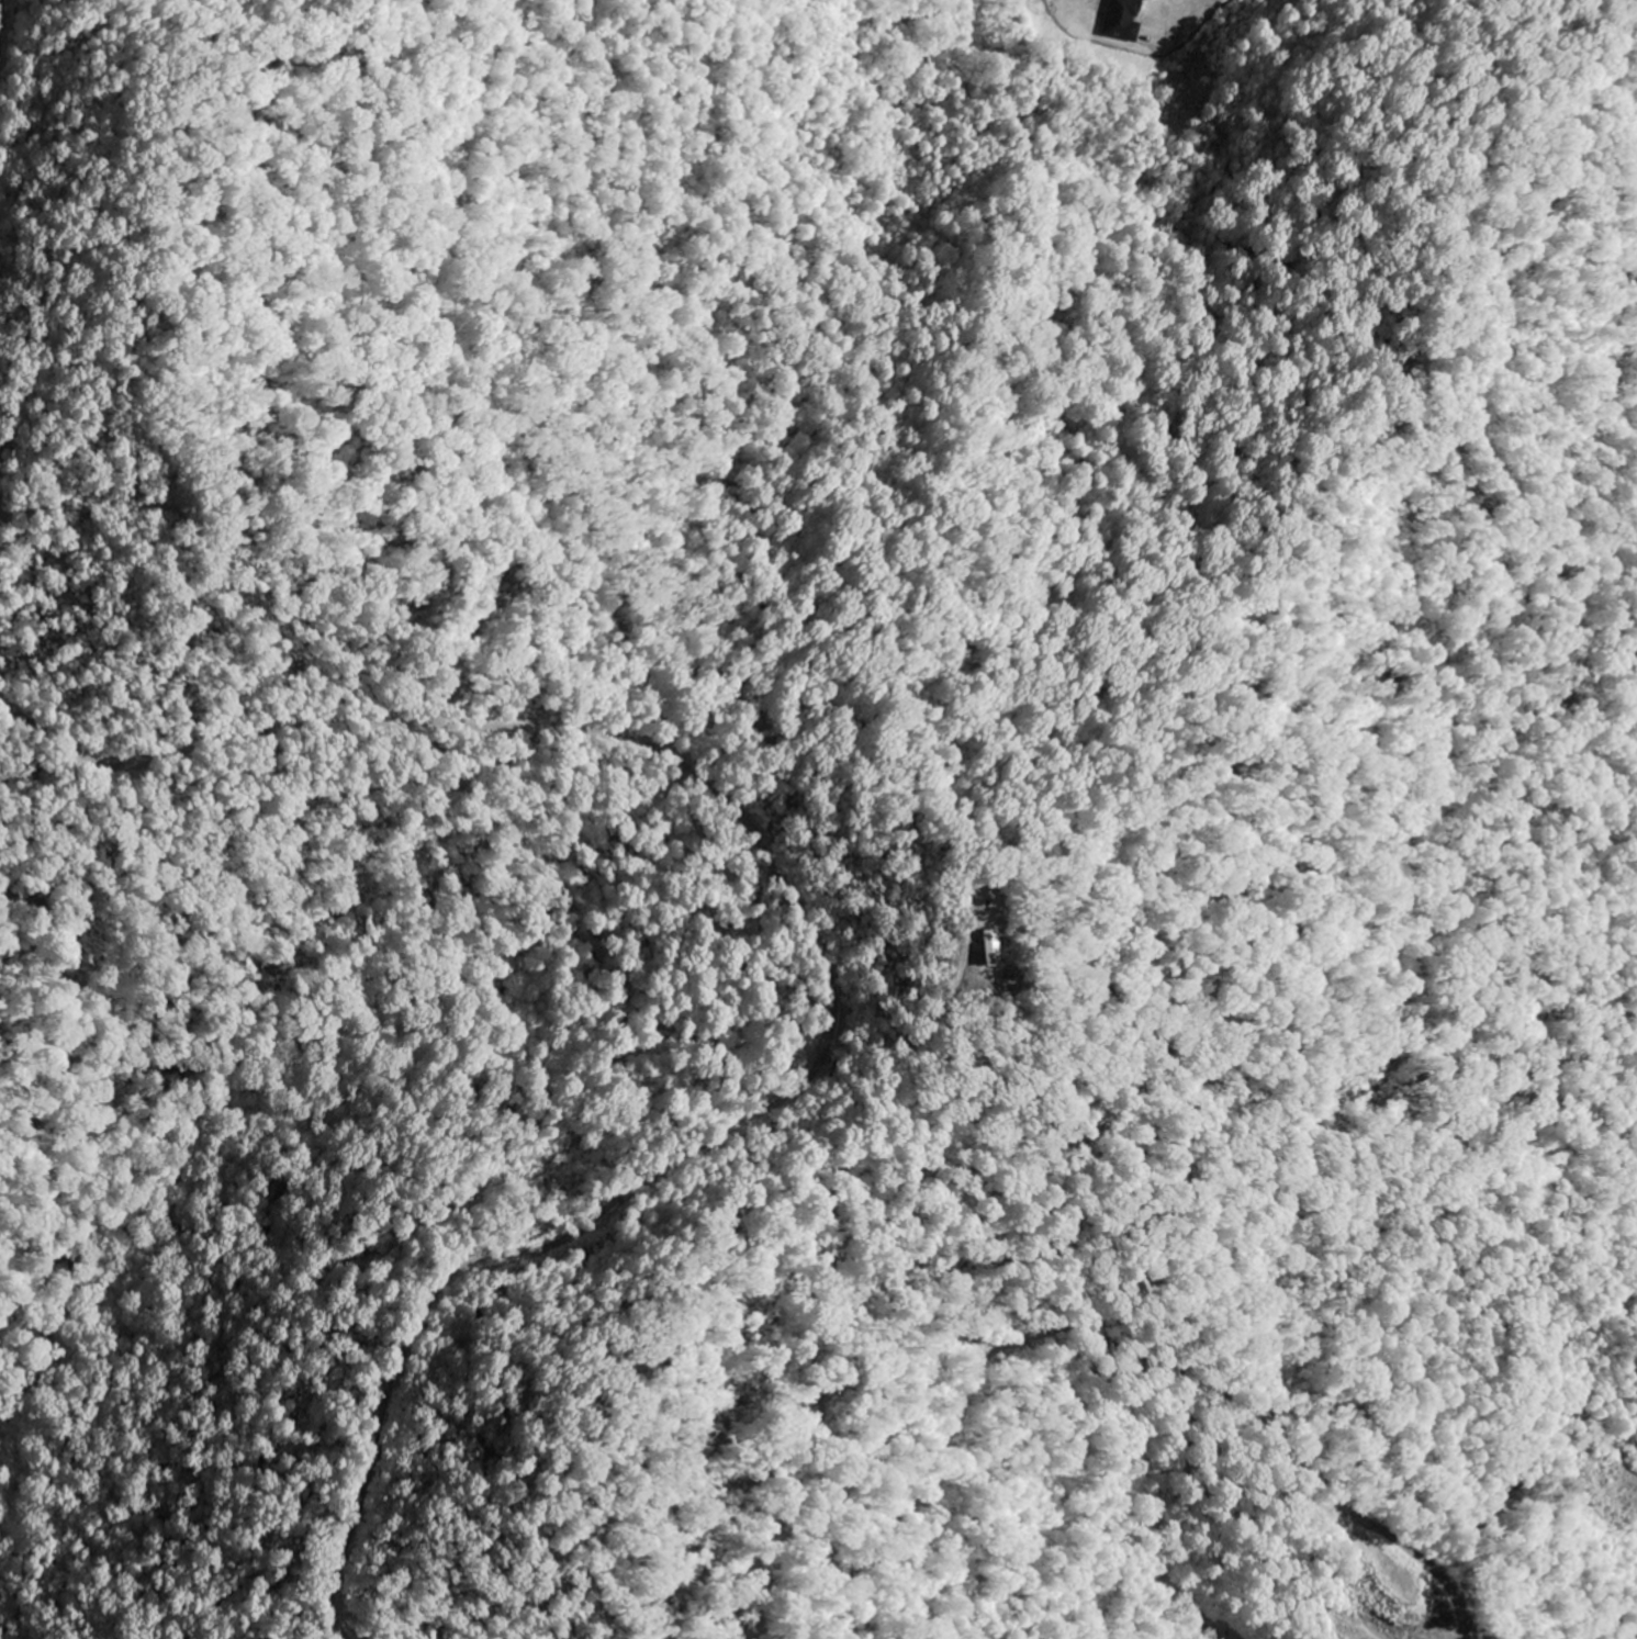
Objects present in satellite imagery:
building: (1125, 20)

